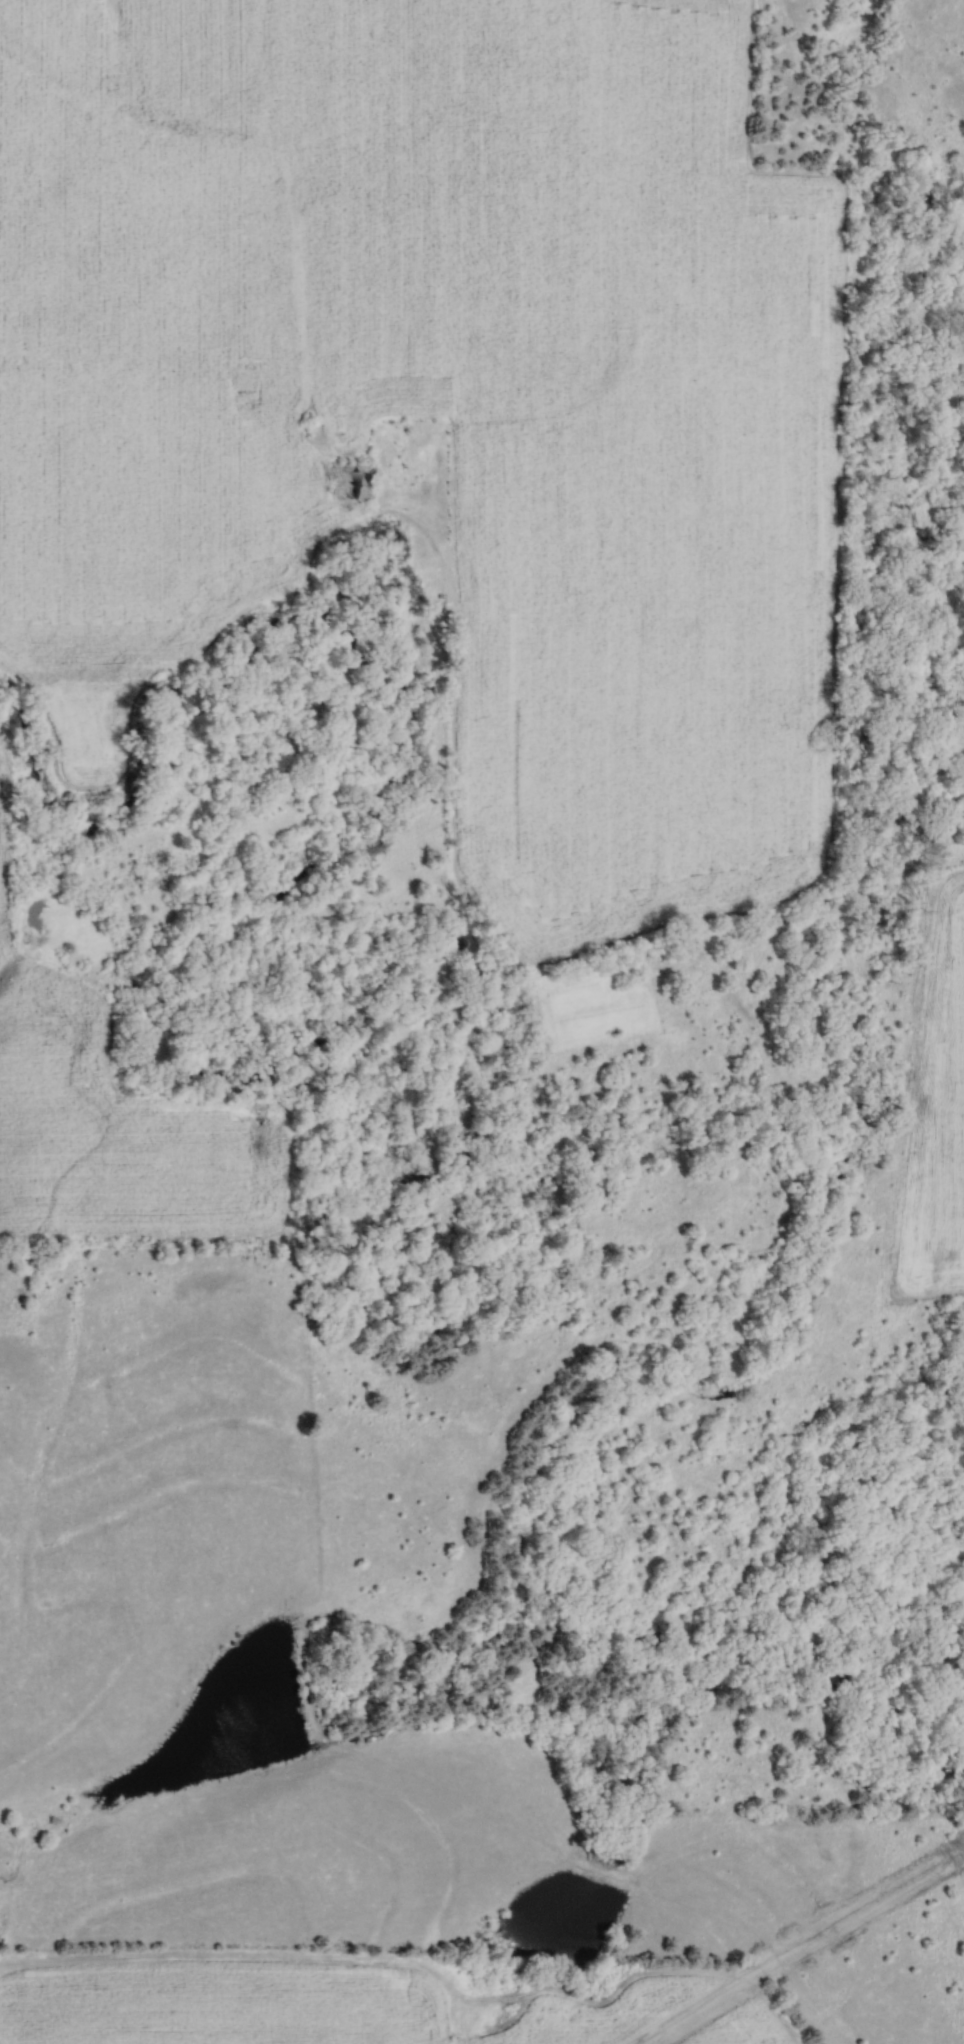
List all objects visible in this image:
building: (347, 477)

